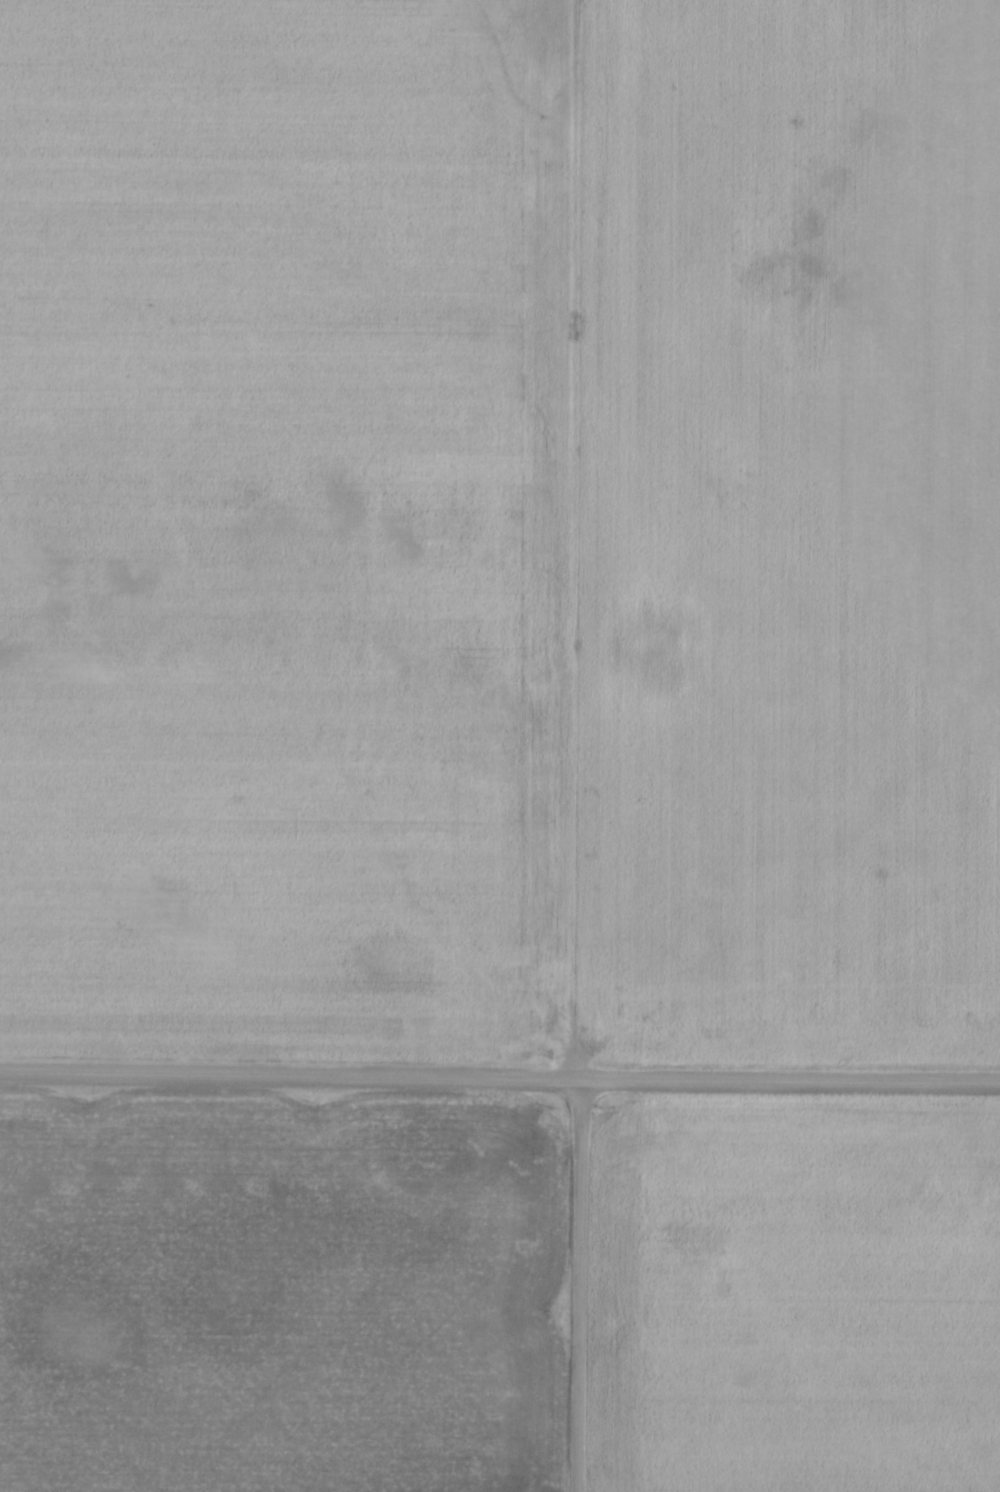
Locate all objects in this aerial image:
crop: (500, 526)
road: (499, 1076)
road: (576, 1284)
crop: (276, 1294)
crop: (796, 1295)

